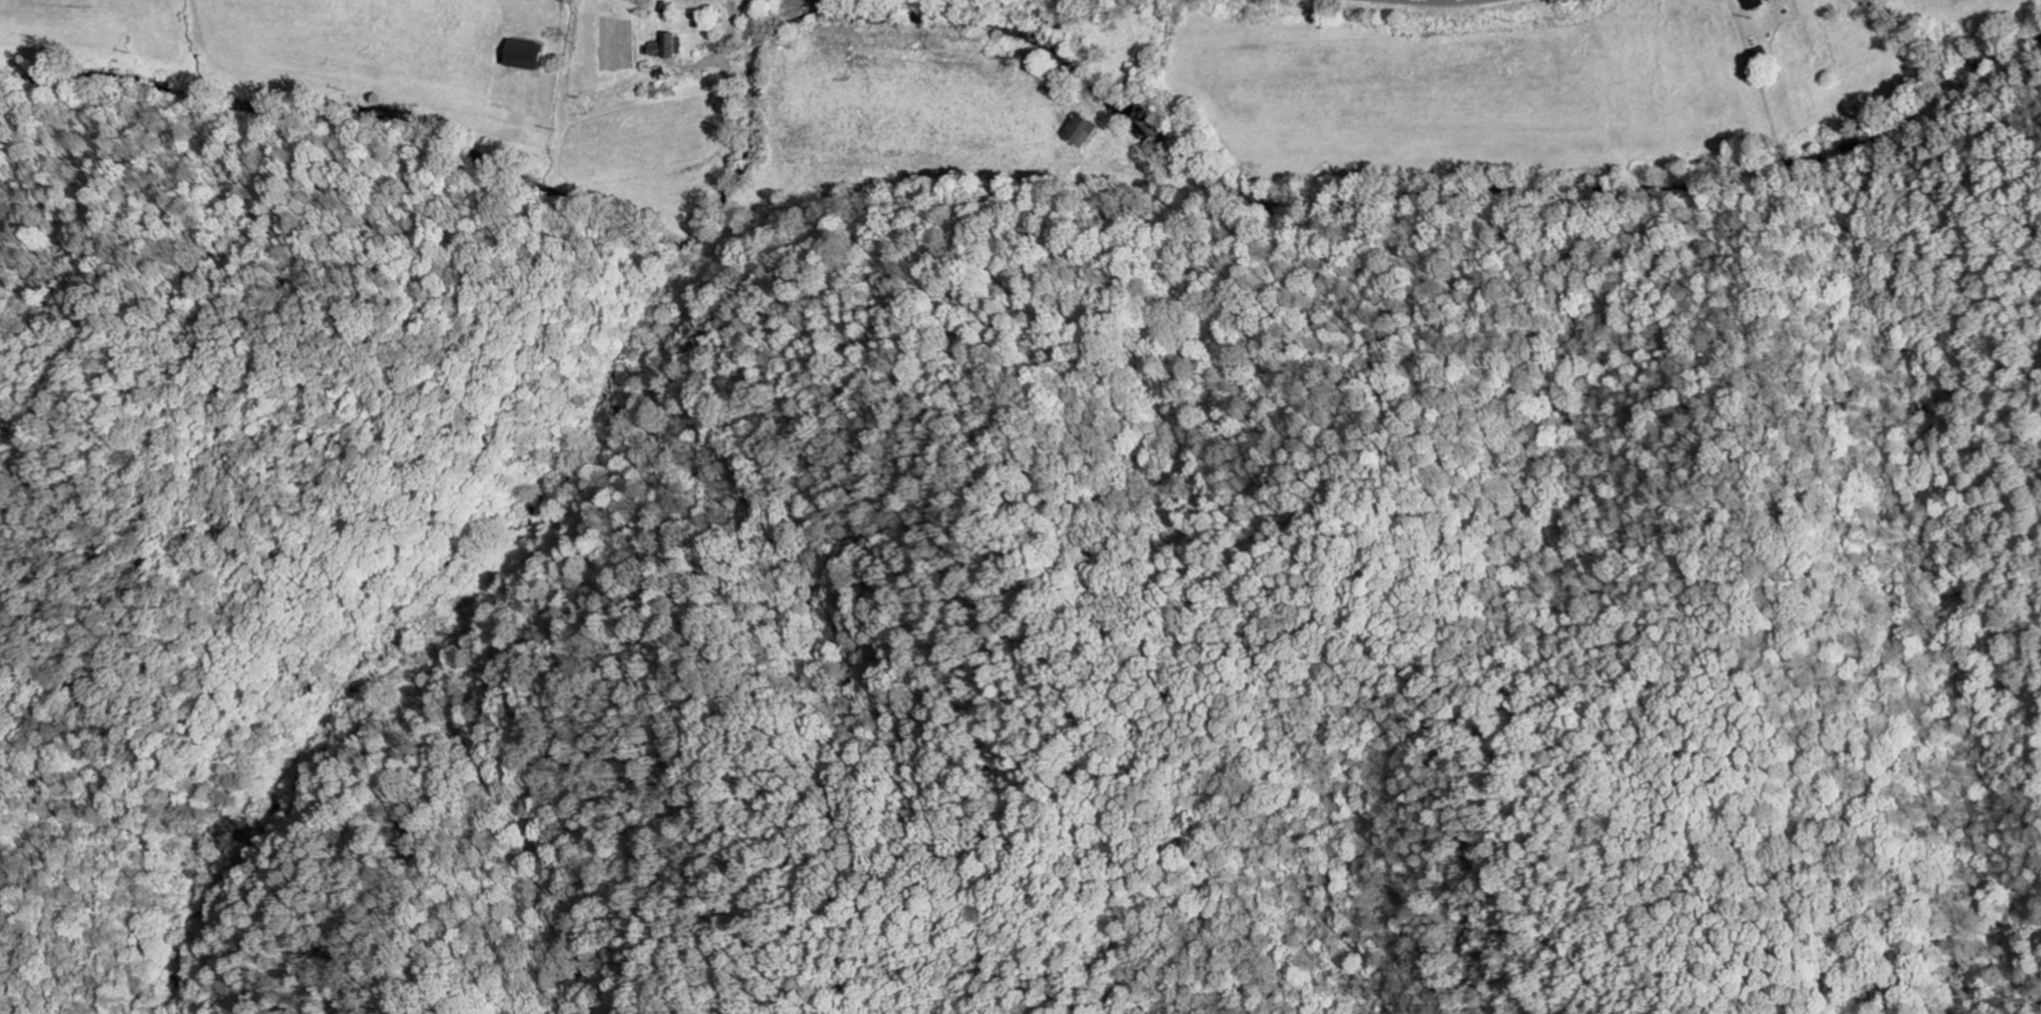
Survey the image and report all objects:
building: (1752, 4)
road: (728, 5)
road: (1242, 17)
road: (729, 22)
building: (662, 47)
building: (522, 55)
road: (701, 63)
building: (1079, 131)
road: (476, 544)

